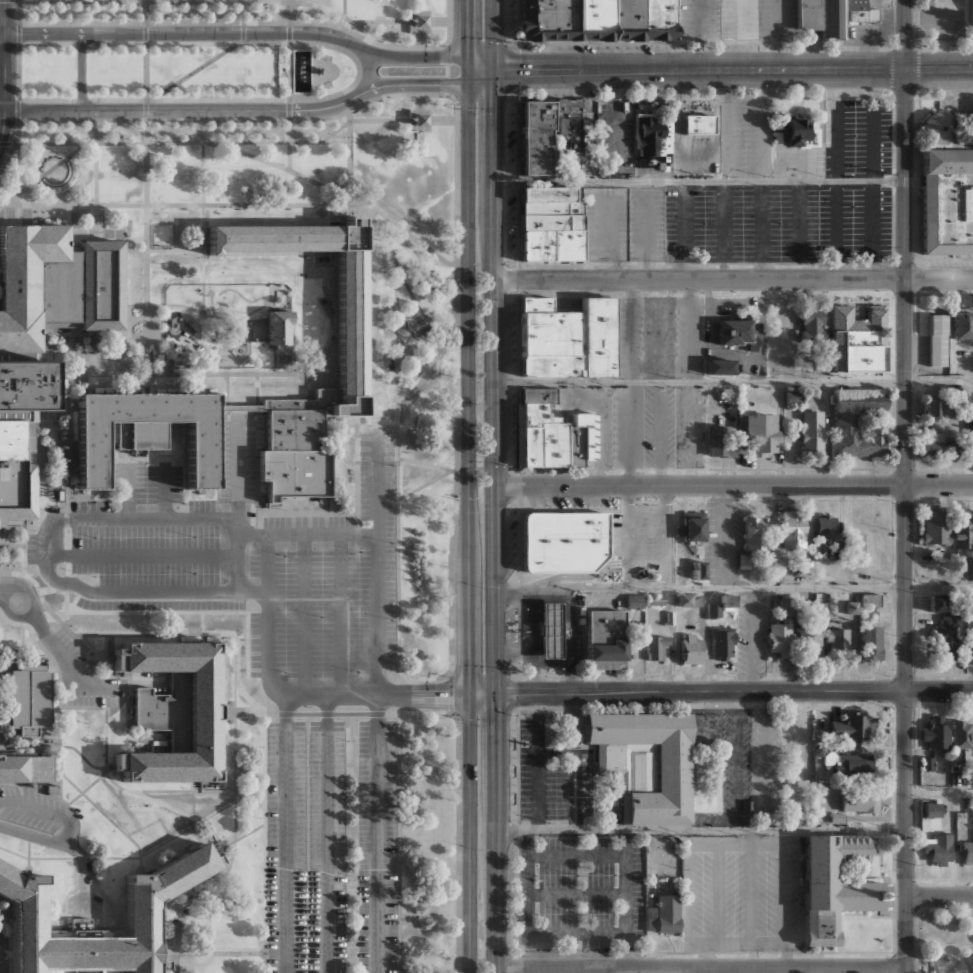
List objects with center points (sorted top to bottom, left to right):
road: (54, 0)
road: (91, 0)
road: (114, 0)
road: (129, 0)
road: (177, 0)
road: (102, 1)
road: (199, 1)
road: (258, 1)
road: (201, 2)
road: (345, 9)
road: (286, 11)
building: (860, 11)
road: (3, 16)
road: (289, 16)
parking lot: (510, 17)
road: (781, 17)
building: (821, 17)
building: (660, 19)
parking lot: (758, 19)
building: (419, 20)
road: (437, 20)
building: (534, 20)
building: (558, 20)
building: (576, 20)
building: (590, 20)
building: (605, 20)
building: (629, 20)
parking lot: (700, 20)
road: (381, 21)
road: (418, 21)
road: (256, 23)
road: (468, 28)
road: (237, 32)
road: (243, 32)
road: (289, 32)
road: (1, 33)
road: (494, 34)
road: (905, 34)
road: (698, 35)
road: (744, 35)
road: (371, 36)
traffic signals: (468, 36)
road: (446, 44)
road: (145, 48)
parking lot: (612, 48)
road: (781, 52)
road: (17, 53)
road: (447, 54)
road: (481, 62)
road: (448, 69)
road: (468, 69)
road: (939, 69)
road: (80, 70)
fountain: (302, 70)
road: (368, 70)
traffic signals: (520, 70)
road: (699, 70)
road: (3, 71)
road: (289, 71)
road: (481, 76)
traffic signals: (444, 84)
road: (448, 85)
parking lot: (566, 92)
road: (419, 101)
traffic signals: (495, 103)
road: (238, 107)
road: (1, 109)
road: (414, 109)
road: (289, 110)
building: (537, 116)
road: (617, 118)
road: (312, 119)
road: (444, 120)
building: (418, 121)
building: (699, 124)
road: (729, 125)
road: (768, 125)
road: (873, 125)
road: (3, 126)
building: (939, 128)
road: (336, 131)
building: (843, 131)
building: (796, 133)
building: (576, 136)
parking lot: (618, 136)
building: (648, 136)
parking lot: (748, 138)
parking lot: (512, 139)
road: (175, 143)
road: (289, 145)
building: (536, 146)
parking lot: (698, 154)
road: (698, 154)
road: (350, 155)
road: (8, 158)
road: (59, 162)
parking lot: (661, 168)
building: (536, 169)
road: (203, 174)
road: (97, 176)
road: (147, 178)
road: (699, 181)
road: (344, 197)
building: (549, 201)
building: (947, 201)
road: (176, 205)
parking lot: (512, 220)
building: (552, 223)
parking lot: (607, 223)
parking lot: (648, 223)
parking lot: (743, 223)
parking lot: (857, 223)
road: (649, 229)
road: (683, 230)
road: (762, 230)
road: (799, 230)
road: (837, 230)
road: (873, 230)
building: (552, 235)
road: (726, 241)
road: (609, 245)
building: (535, 250)
building: (567, 250)
road: (198, 251)
road: (733, 279)
road: (455, 300)
building: (49, 304)
building: (812, 324)
building: (962, 325)
building: (350, 327)
building: (280, 329)
road: (629, 330)
road: (691, 330)
building: (736, 331)
building: (566, 333)
parking lot: (658, 338)
building: (937, 340)
road: (399, 342)
building: (855, 344)
building: (820, 365)
building: (547, 366)
building: (718, 367)
road: (238, 373)
road: (495, 381)
road: (734, 381)
road: (411, 382)
road: (468, 387)
building: (728, 394)
building: (537, 395)
building: (794, 397)
building: (933, 407)
building: (532, 413)
building: (970, 417)
building: (843, 425)
parking lot: (651, 426)
road: (459, 431)
building: (146, 432)
building: (755, 432)
building: (812, 432)
road: (629, 433)
road: (660, 433)
road: (691, 433)
building: (557, 442)
building: (717, 443)
building: (936, 446)
building: (295, 456)
road: (425, 464)
road: (237, 468)
building: (18, 469)
road: (444, 475)
road: (734, 485)
road: (128, 491)
road: (164, 495)
road: (398, 510)
road: (352, 512)
road: (905, 521)
road: (54, 522)
building: (935, 526)
building: (791, 528)
building: (692, 529)
building: (824, 530)
building: (962, 530)
road: (309, 533)
parking lot: (643, 535)
road: (629, 537)
road: (666, 537)
building: (564, 540)
building: (755, 545)
road: (144, 555)
road: (378, 566)
building: (700, 570)
building: (968, 570)
road: (580, 575)
road: (31, 578)
road: (1, 583)
road: (733, 588)
road: (257, 593)
building: (655, 600)
building: (870, 600)
building: (634, 601)
building: (688, 601)
building: (728, 602)
building: (937, 603)
building: (968, 604)
building: (787, 605)
building: (713, 610)
road: (173, 614)
road: (308, 614)
road: (342, 614)
road: (64, 617)
road: (201, 624)
building: (550, 630)
gas station: (546, 631)
parking lot: (752, 632)
road: (135, 634)
building: (779, 639)
building: (604, 640)
road: (752, 640)
building: (810, 640)
building: (947, 640)
road: (531, 641)
road: (570, 641)
building: (838, 642)
building: (723, 643)
building: (870, 643)
road: (244, 644)
road: (53, 645)
building: (655, 648)
building: (690, 649)
road: (94, 653)
road: (513, 658)
road: (552, 662)
road: (55, 664)
traffic signals: (469, 670)
parking lot: (282, 673)
parking lot: (81, 675)
road: (424, 677)
road: (451, 692)
road: (481, 693)
traffic signals: (516, 693)
road: (733, 693)
road: (510, 694)
road: (295, 695)
road: (250, 699)
building: (30, 701)
road: (118, 706)
road: (83, 707)
road: (127, 710)
building: (173, 711)
road: (451, 712)
road: (242, 713)
road: (416, 714)
traffic signals: (494, 714)
building: (851, 725)
building: (794, 732)
building: (936, 733)
building: (962, 734)
road: (236, 738)
road: (107, 740)
building: (641, 761)
road: (737, 762)
road: (766, 762)
building: (855, 763)
building: (926, 763)
building: (806, 765)
parking lot: (748, 768)
building: (25, 769)
road: (537, 771)
road: (574, 775)
parking lot: (552, 777)
building: (969, 778)
road: (83, 791)
road: (183, 791)
road: (939, 793)
building: (859, 801)
road: (163, 807)
road: (46, 810)
building: (930, 810)
parking lot: (38, 812)
road: (701, 831)
road: (496, 832)
road: (287, 833)
road: (380, 833)
road: (469, 833)
road: (329, 834)
road: (238, 838)
road: (460, 841)
road: (264, 842)
road: (528, 842)
road: (624, 842)
road: (67, 846)
building: (938, 849)
road: (139, 851)
building: (966, 852)
road: (14, 853)
road: (29, 854)
road: (84, 858)
building: (834, 885)
parking lot: (582, 892)
road: (688, 892)
road: (718, 892)
road: (201, 893)
road: (576, 894)
parking lot: (741, 897)
road: (940, 898)
road: (784, 900)
road: (753, 904)
building: (143, 911)
building: (662, 914)
road: (919, 915)
road: (625, 936)
park: (943, 940)
road: (569, 952)
road: (625, 952)
road: (216, 953)
road: (707, 956)
building: (944, 956)
road: (946, 957)
road: (177, 963)
road: (968, 964)
road: (953, 966)
road: (701, 969)
road: (605, 971)
road: (710, 971)
road: (809, 971)
road: (936, 972)

